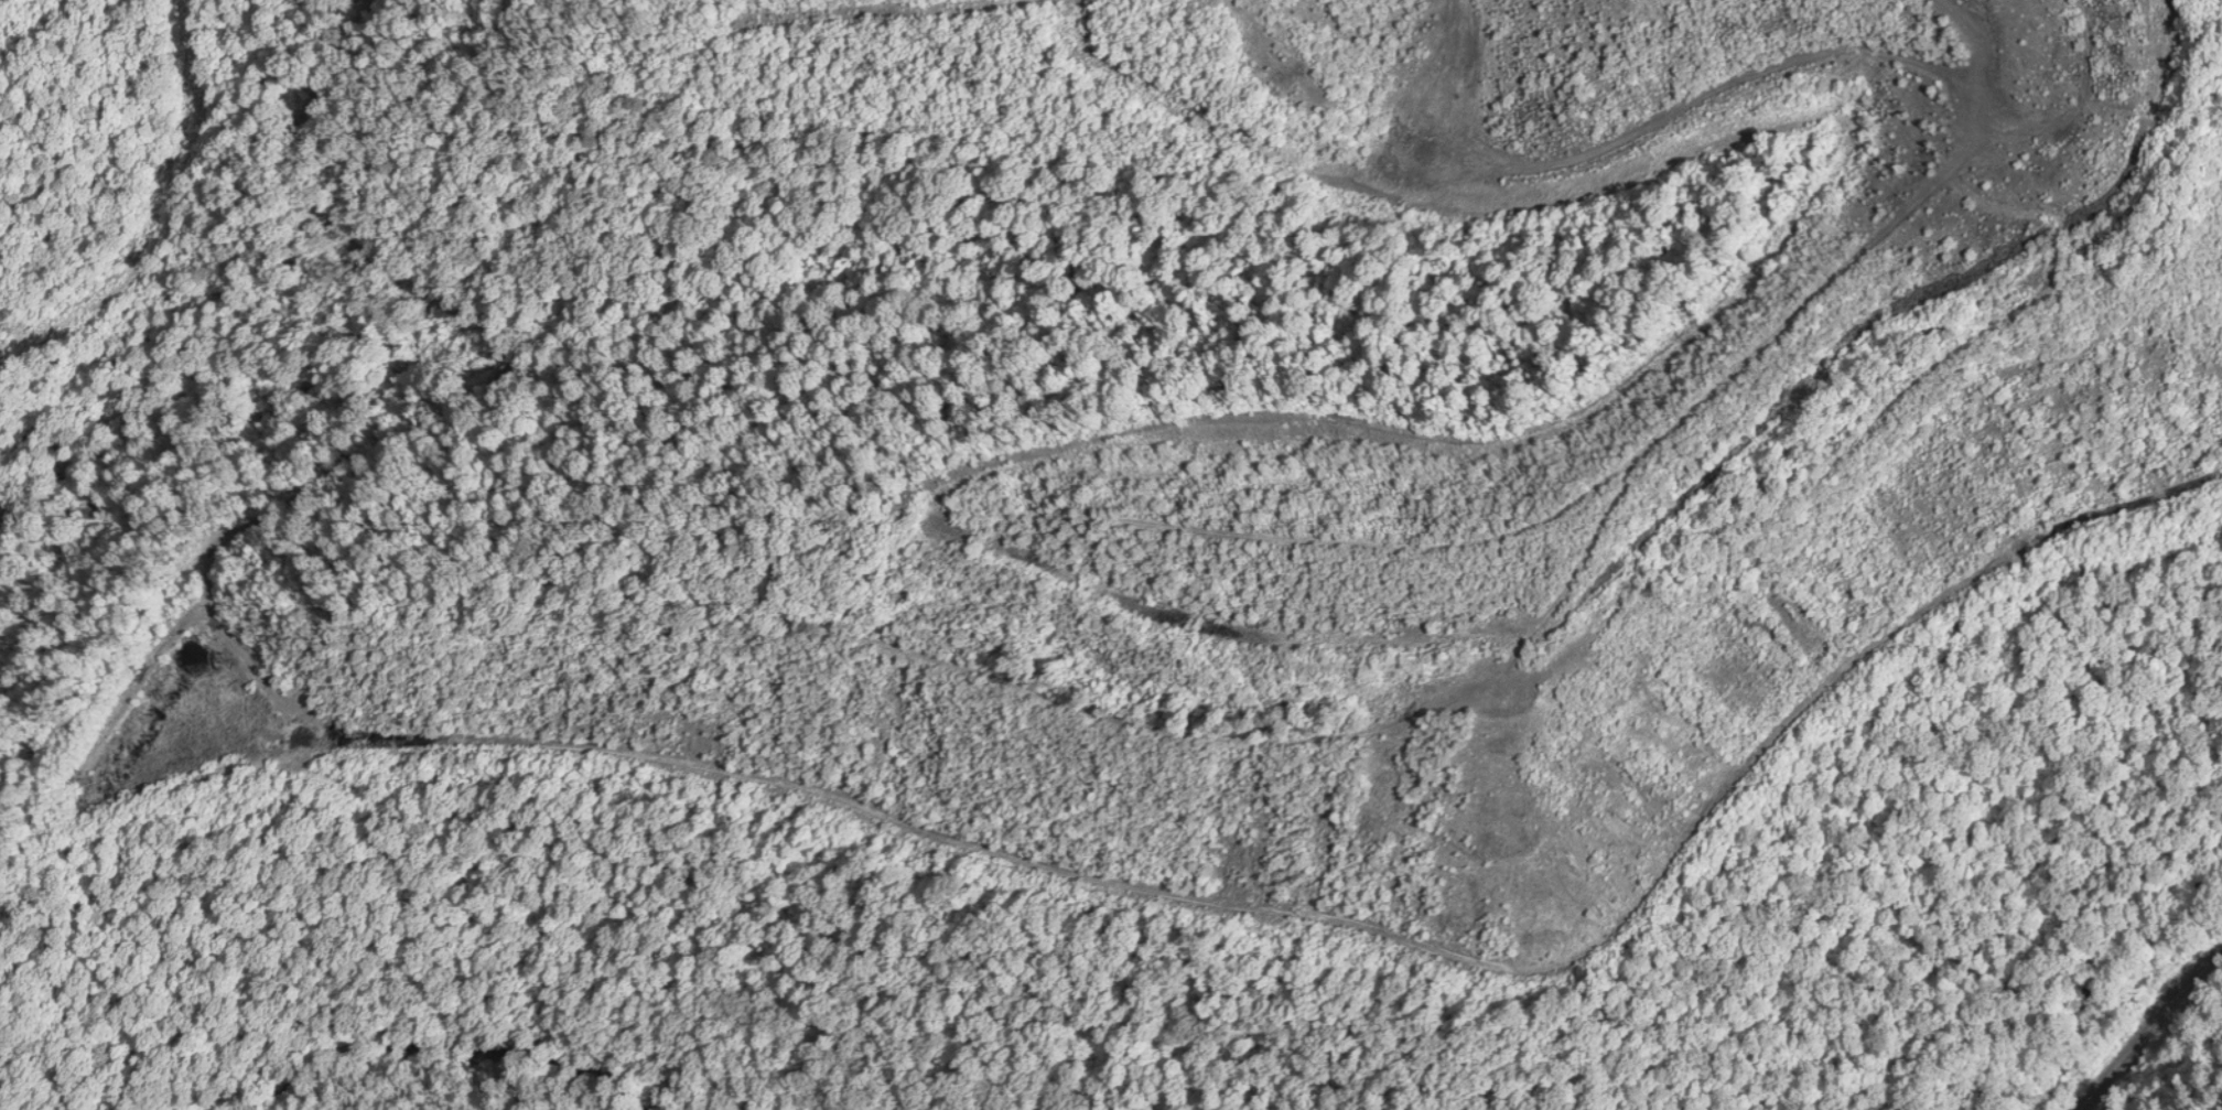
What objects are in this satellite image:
building: (1721, 10)
quarry: (1110, 433)
road: (2147, 1023)

